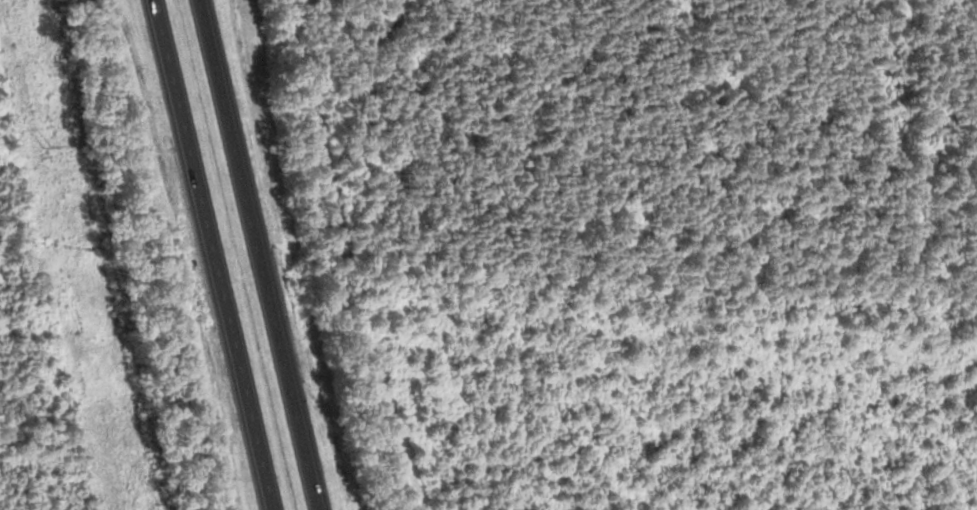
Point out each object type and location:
power tower: (46, 143)
road: (213, 254)
road: (258, 255)

